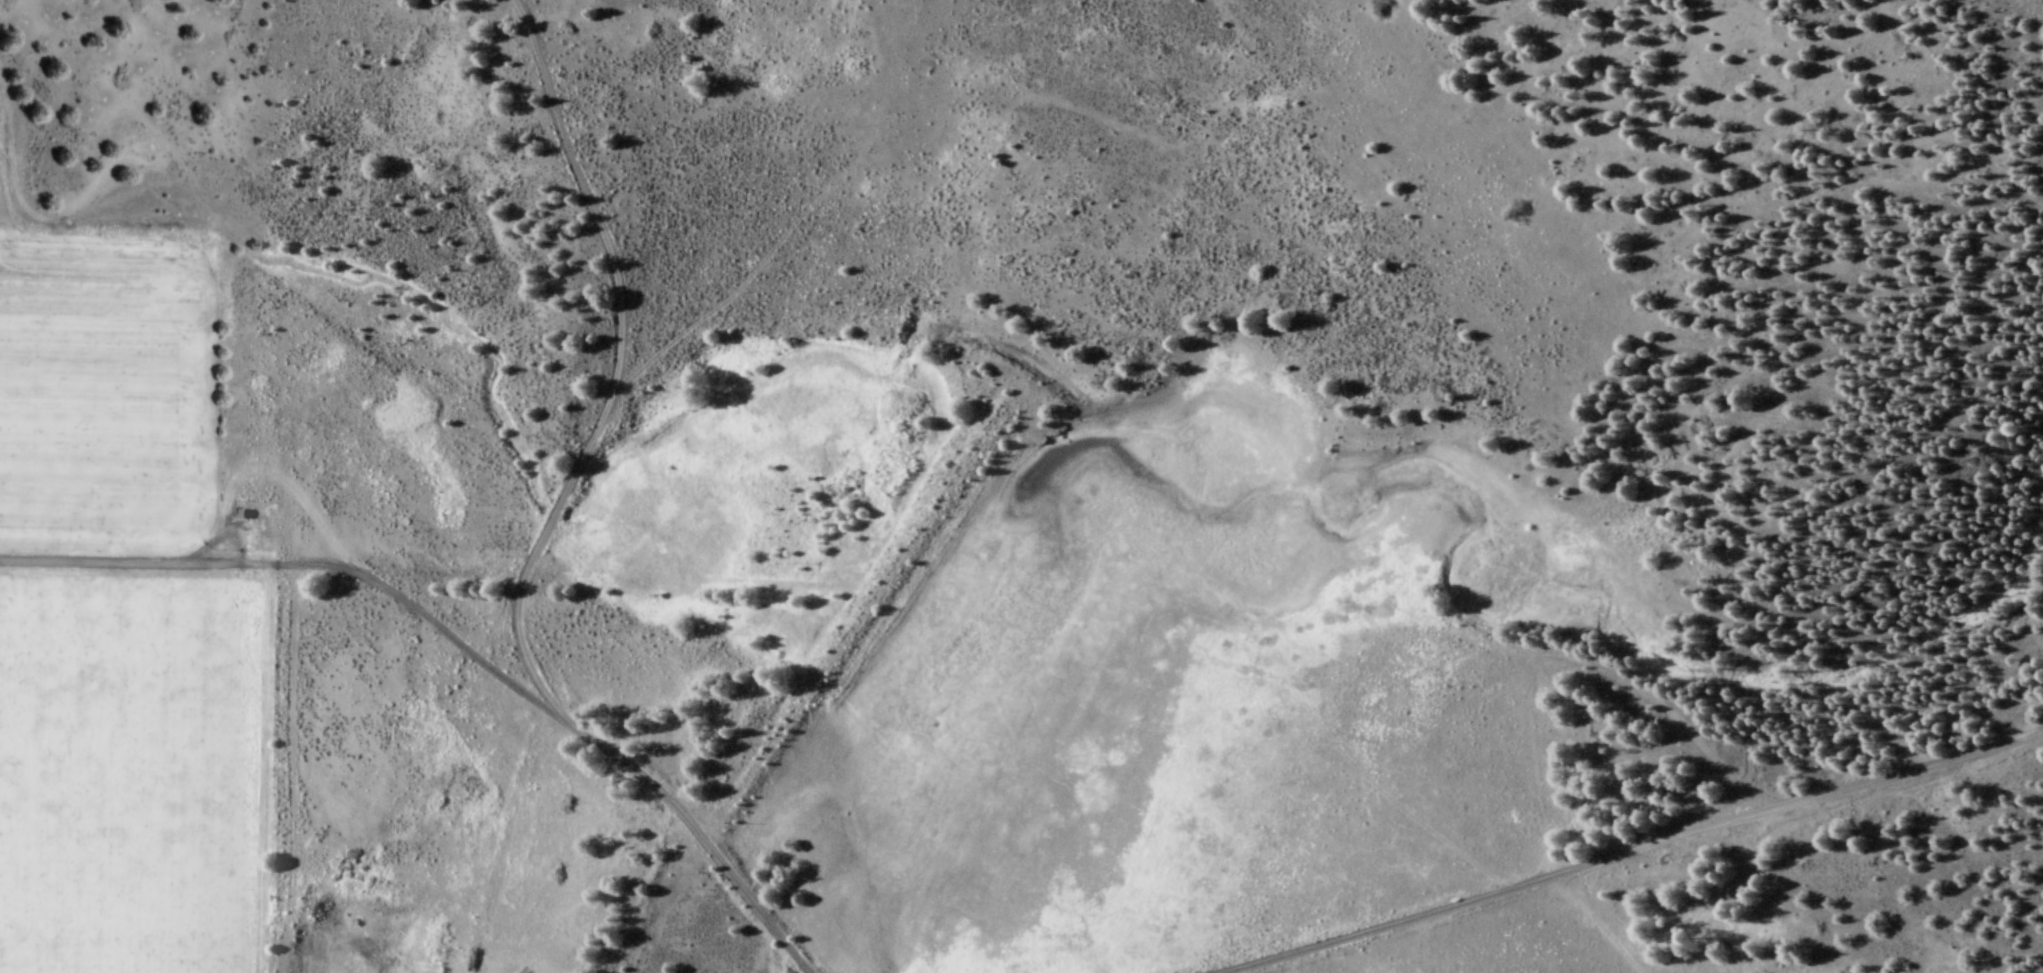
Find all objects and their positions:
road: (462, 645)
road: (1620, 851)

